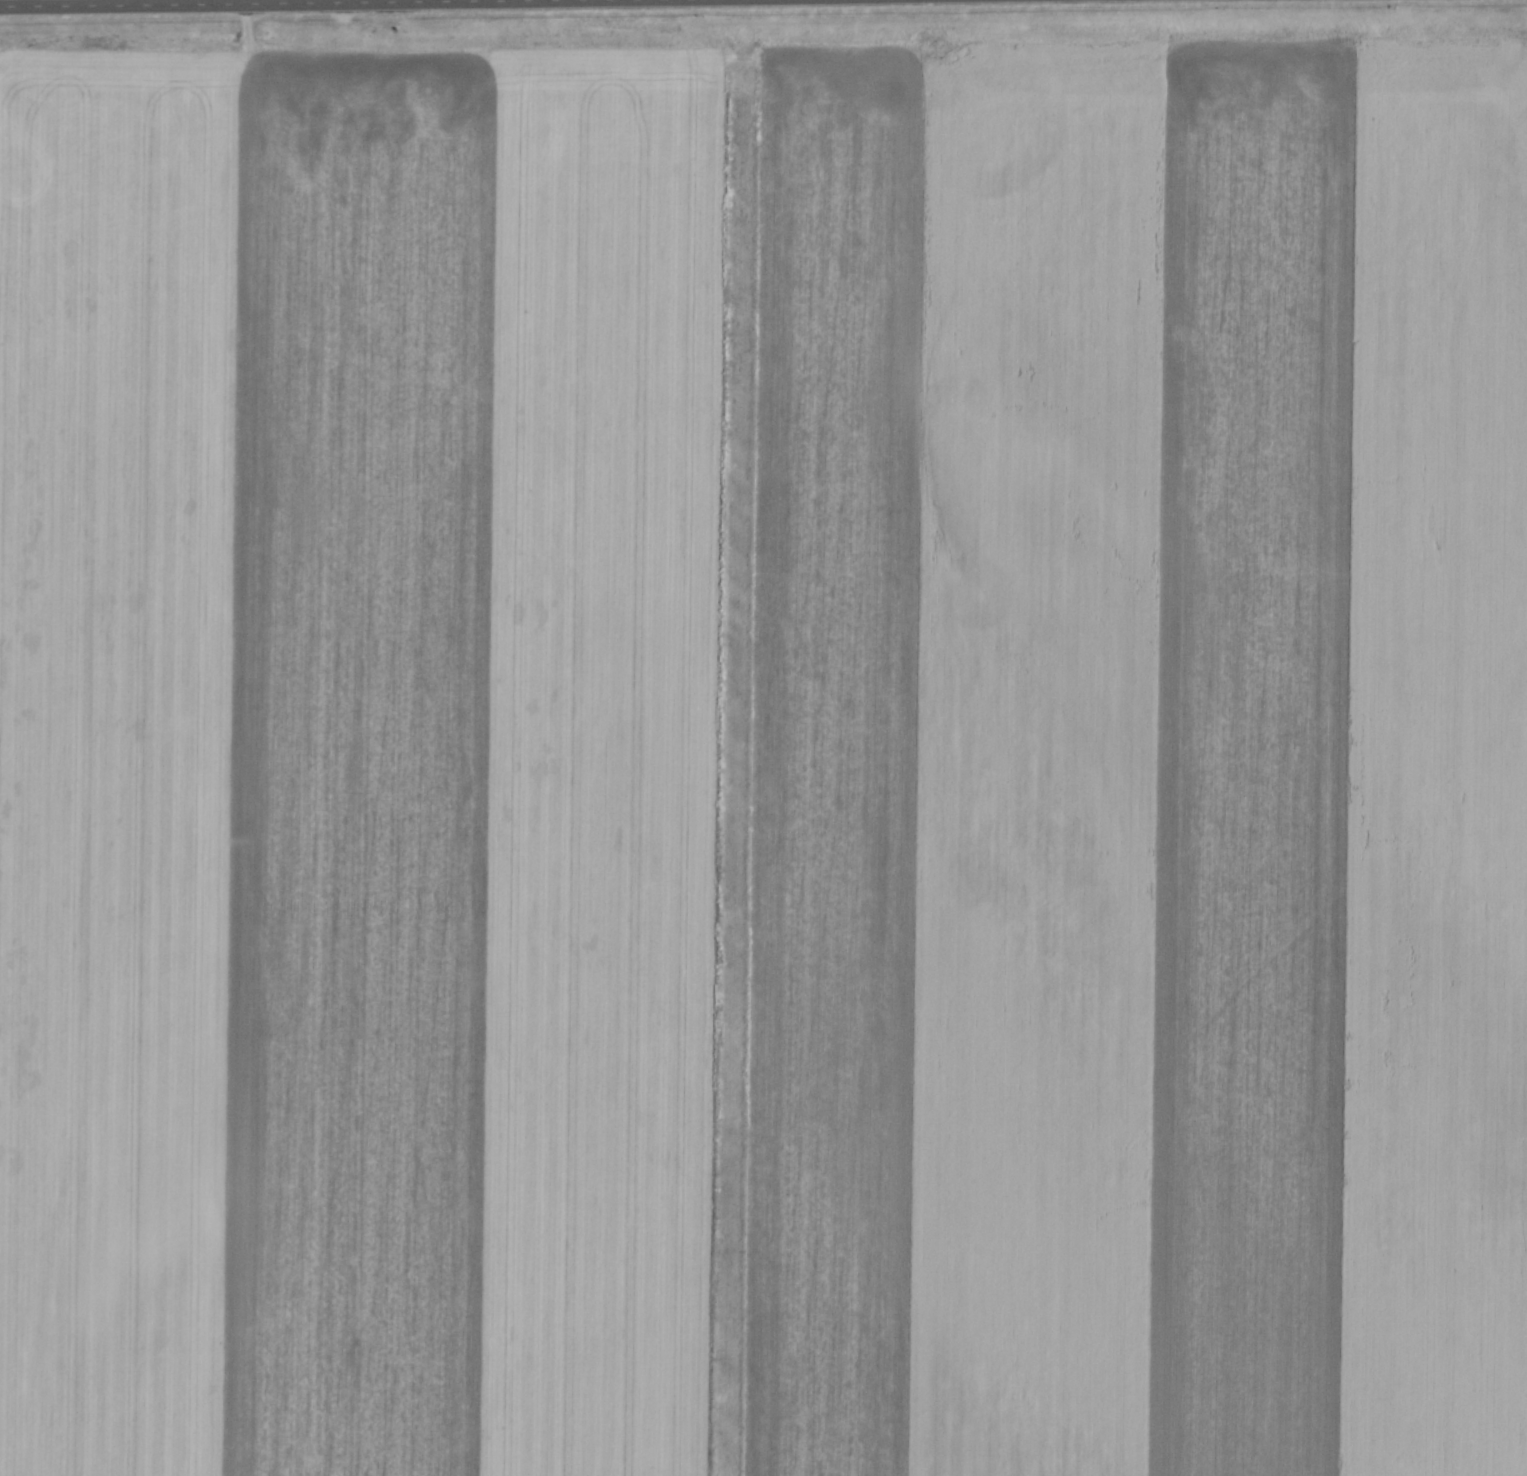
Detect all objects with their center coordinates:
road: (194, 2)

